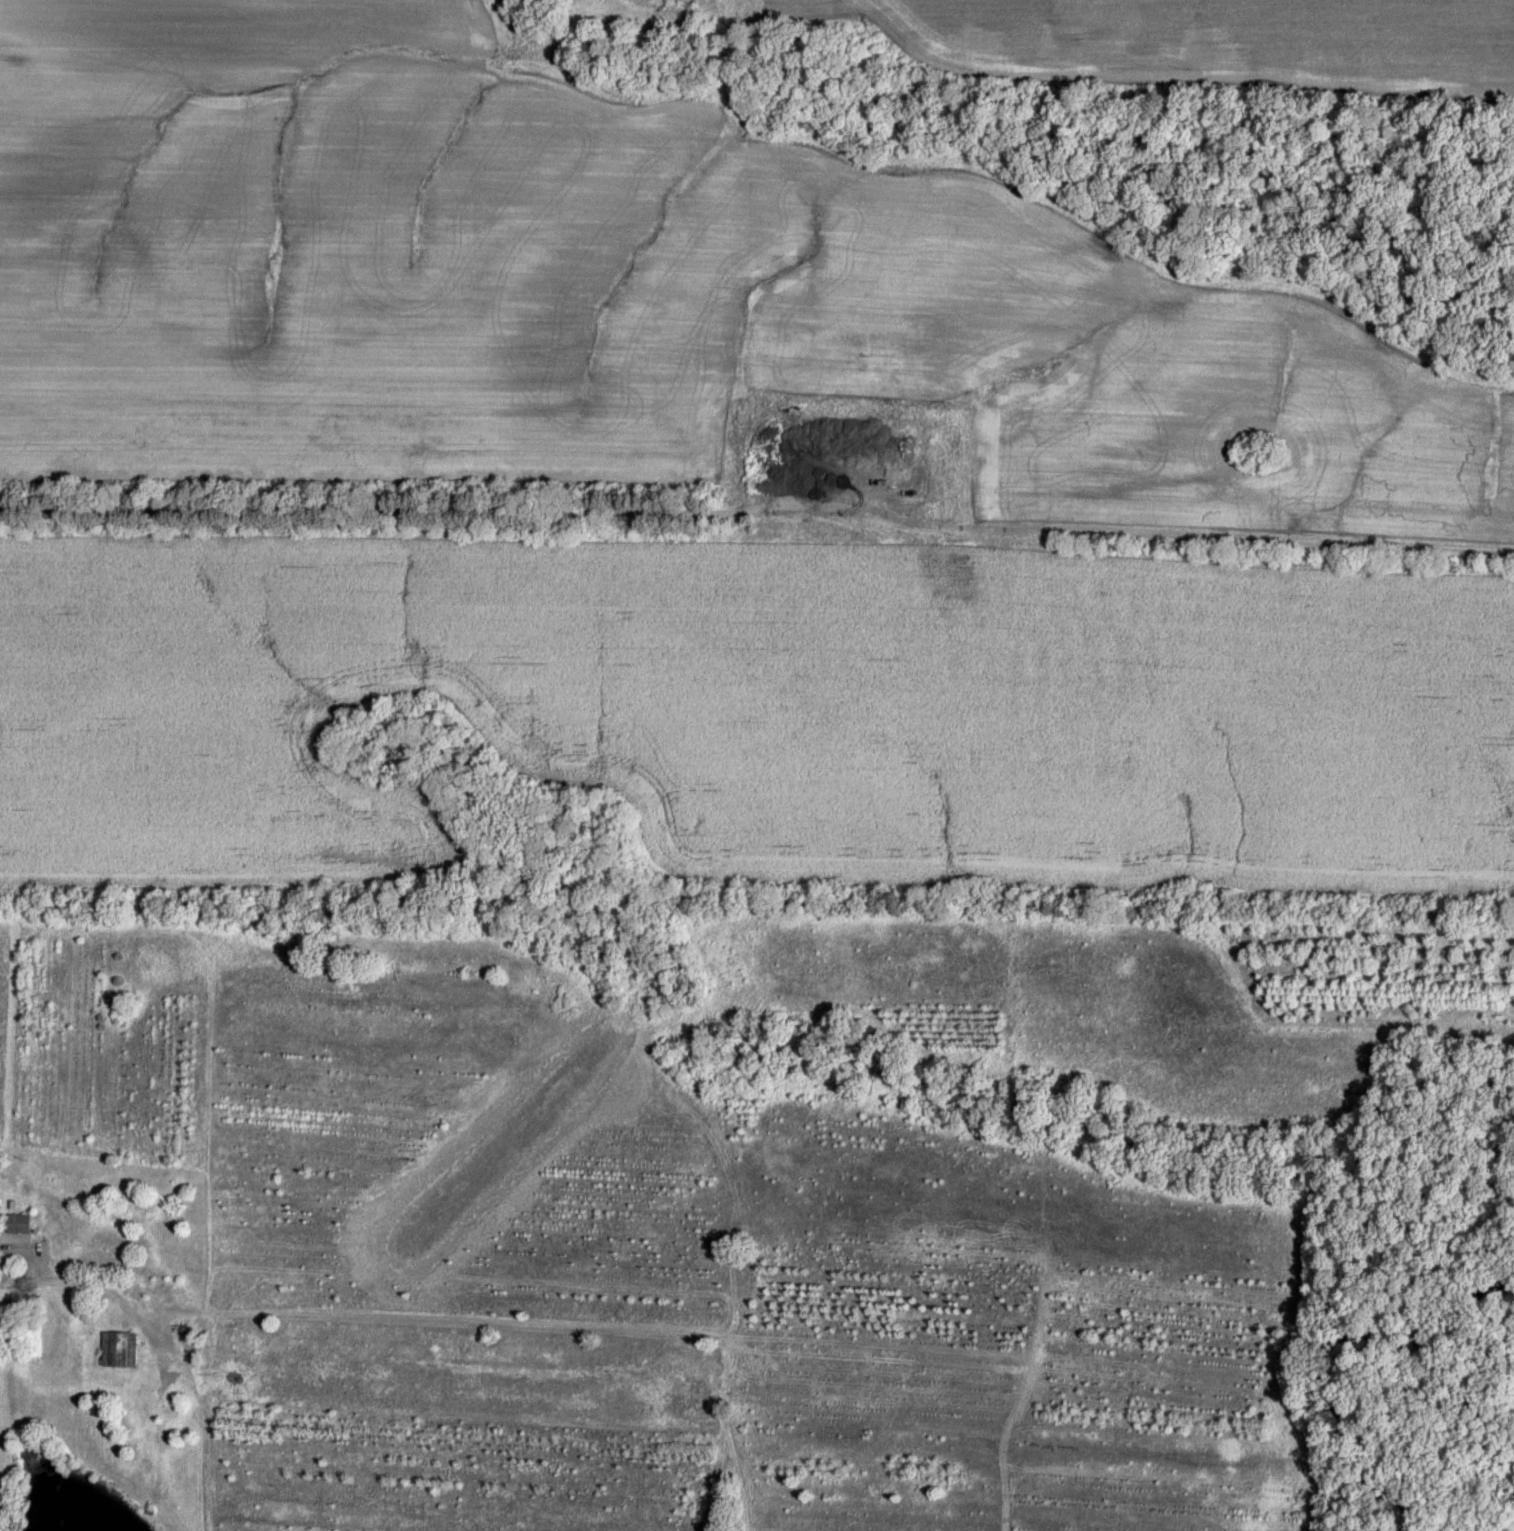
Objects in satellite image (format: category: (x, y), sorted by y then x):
building: (19, 1226)
road: (2, 1269)
road: (93, 1293)
building: (119, 1353)

